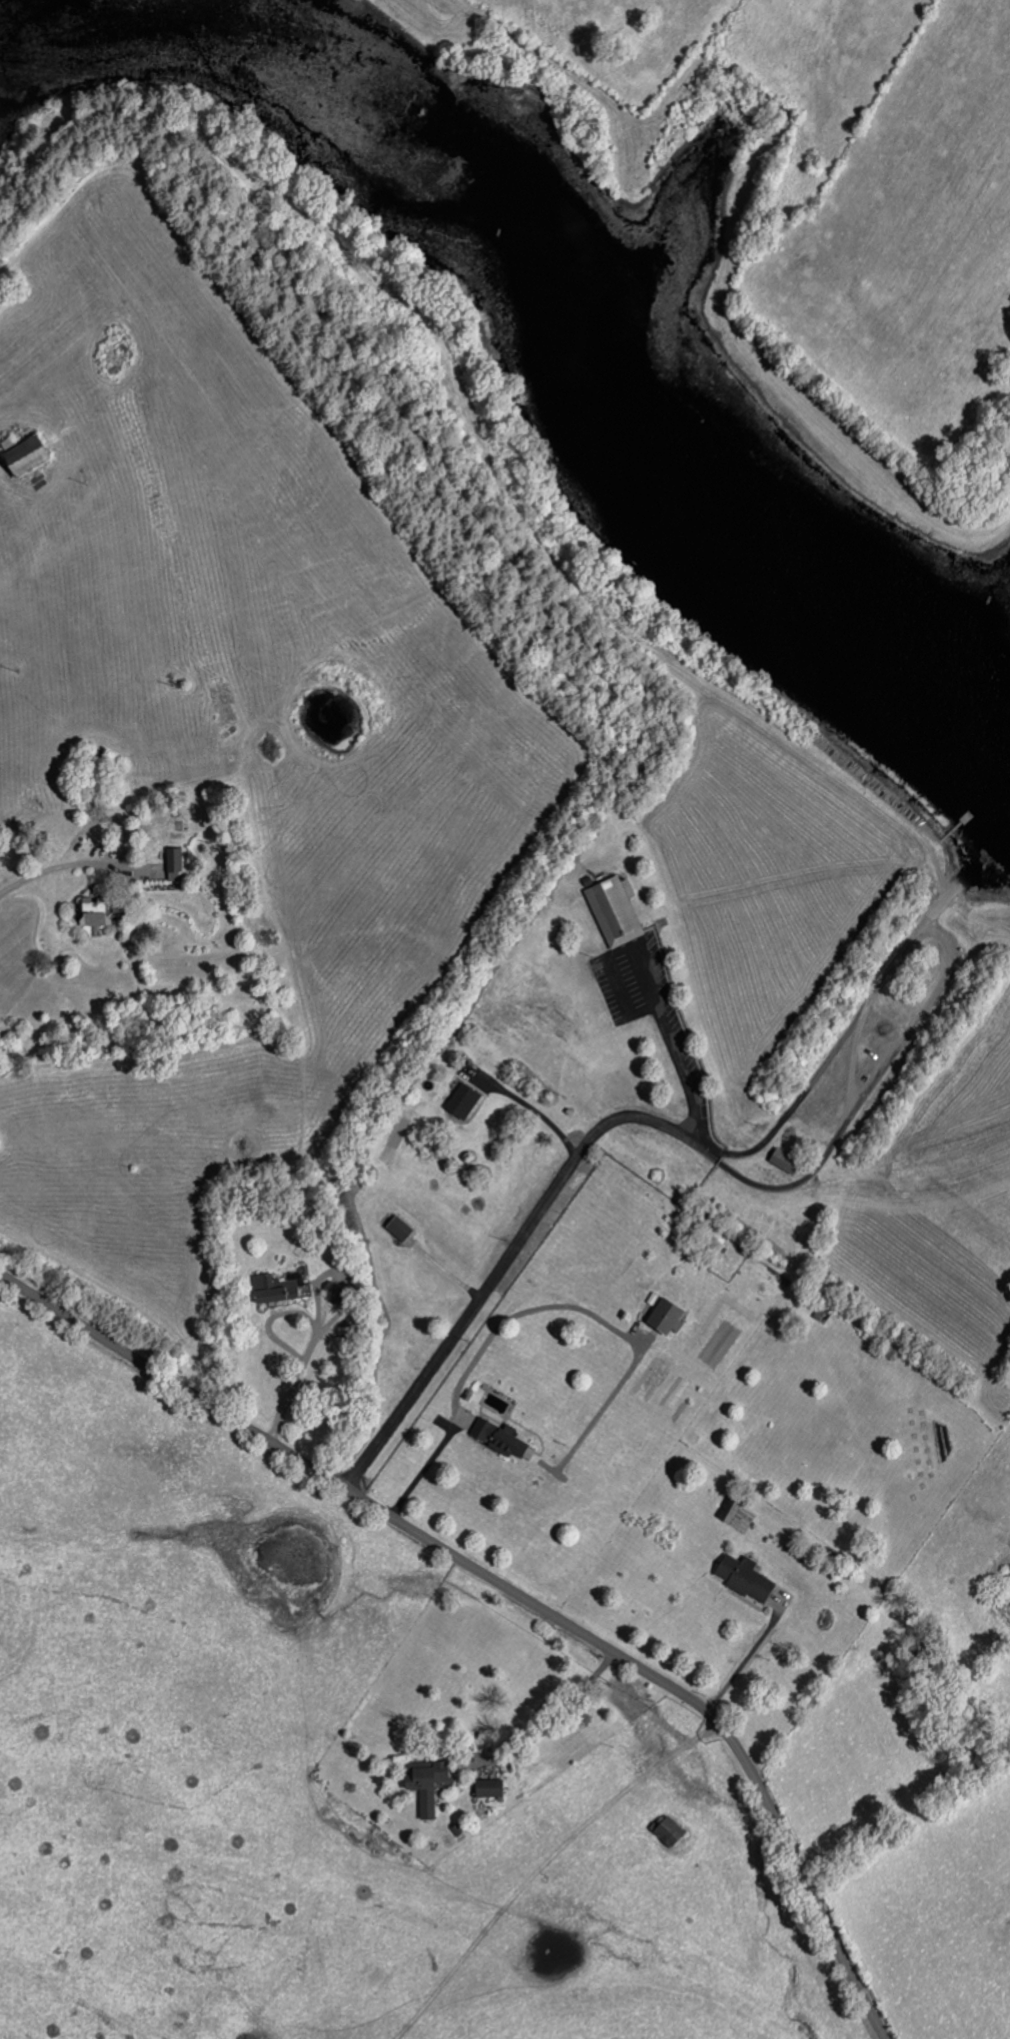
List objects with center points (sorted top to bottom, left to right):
building: (35, 457)
building: (172, 865)
road: (57, 870)
building: (612, 913)
building: (89, 914)
building: (461, 1102)
road: (534, 1111)
road: (757, 1148)
building: (780, 1161)
road: (551, 1186)
building: (398, 1231)
building: (272, 1290)
building: (331, 1292)
building: (662, 1319)
road: (509, 1322)
road: (314, 1371)
building: (500, 1442)
road: (422, 1472)
building: (741, 1578)
road: (512, 1592)
road: (743, 1661)
road: (551, 1720)
building: (422, 1786)
building: (488, 1789)
building: (665, 1832)

